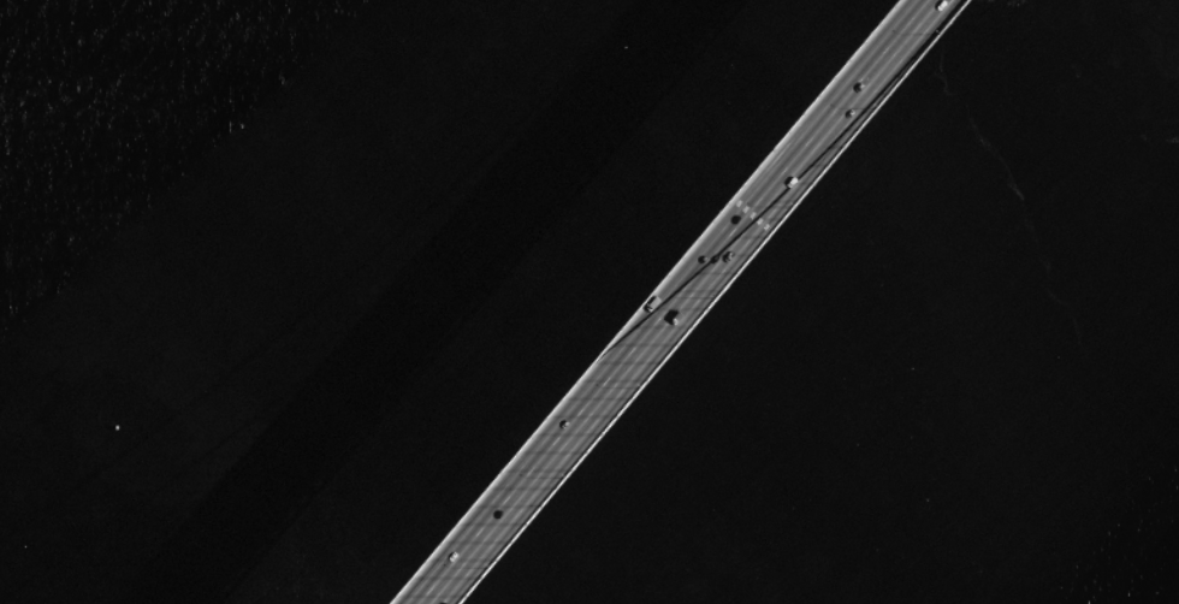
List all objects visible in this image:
road: (663, 302)
road: (693, 302)

